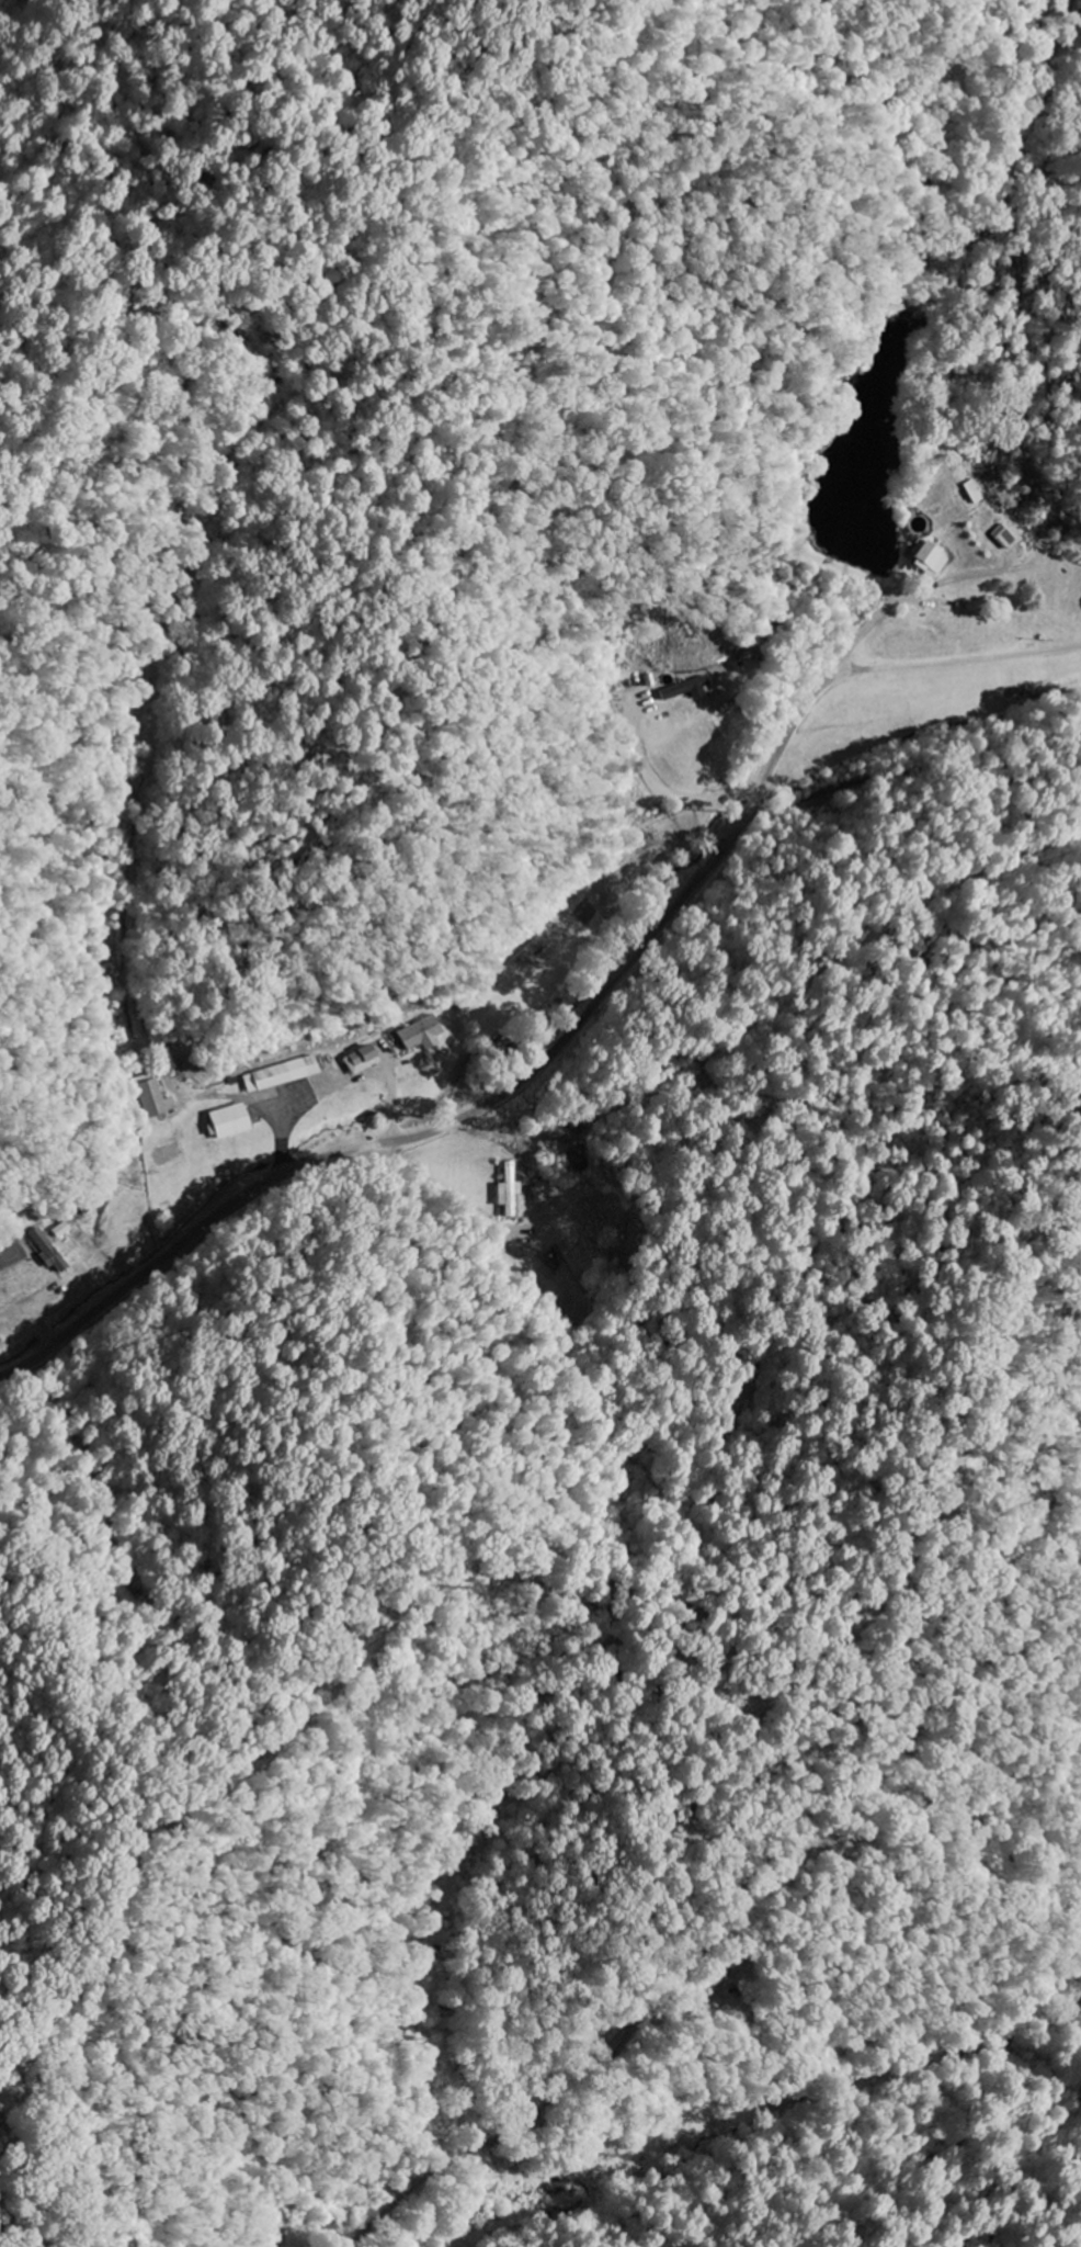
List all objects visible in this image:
building: (1005, 538)
building: (929, 558)
building: (690, 691)
road: (571, 1023)
building: (425, 1035)
building: (366, 1060)
building: (286, 1074)
building: (153, 1099)
building: (231, 1121)
building: (511, 1190)
building: (49, 1252)

